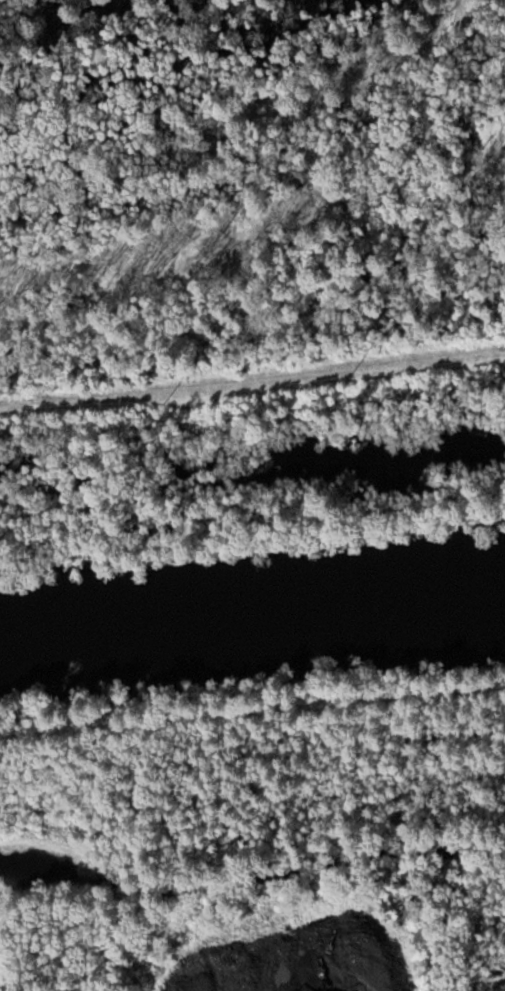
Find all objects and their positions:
river: (252, 624)

